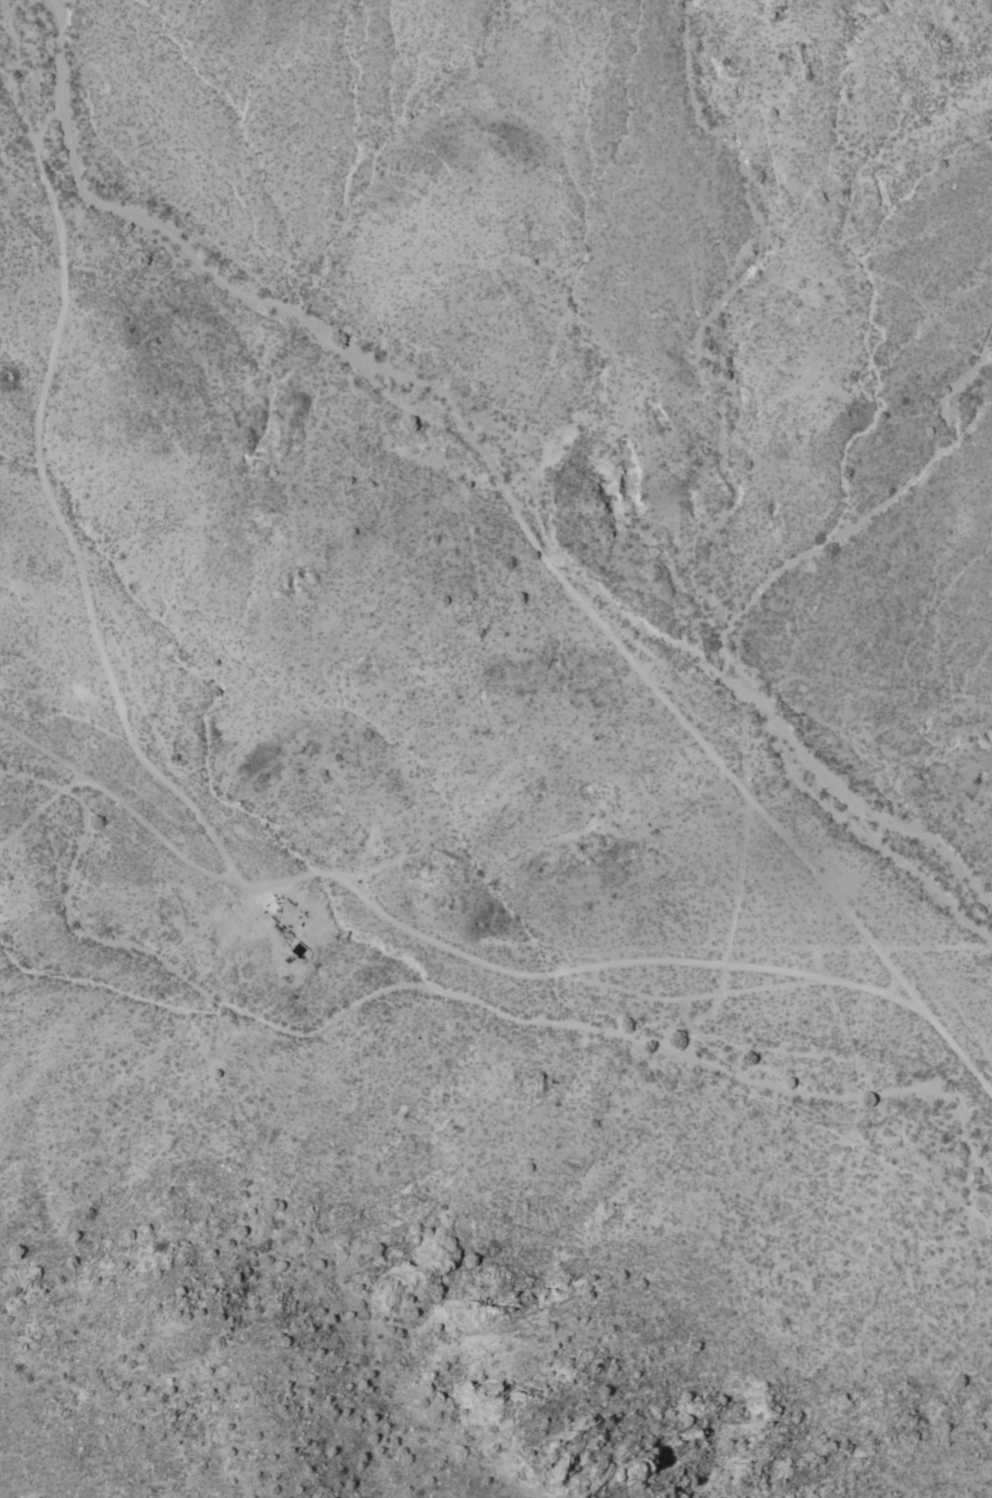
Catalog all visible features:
road: (493, 462)
road: (72, 546)
road: (746, 753)
road: (120, 801)
road: (41, 808)
building: (290, 917)
road: (571, 969)
road: (690, 996)
road: (959, 1051)
road: (889, 1111)

